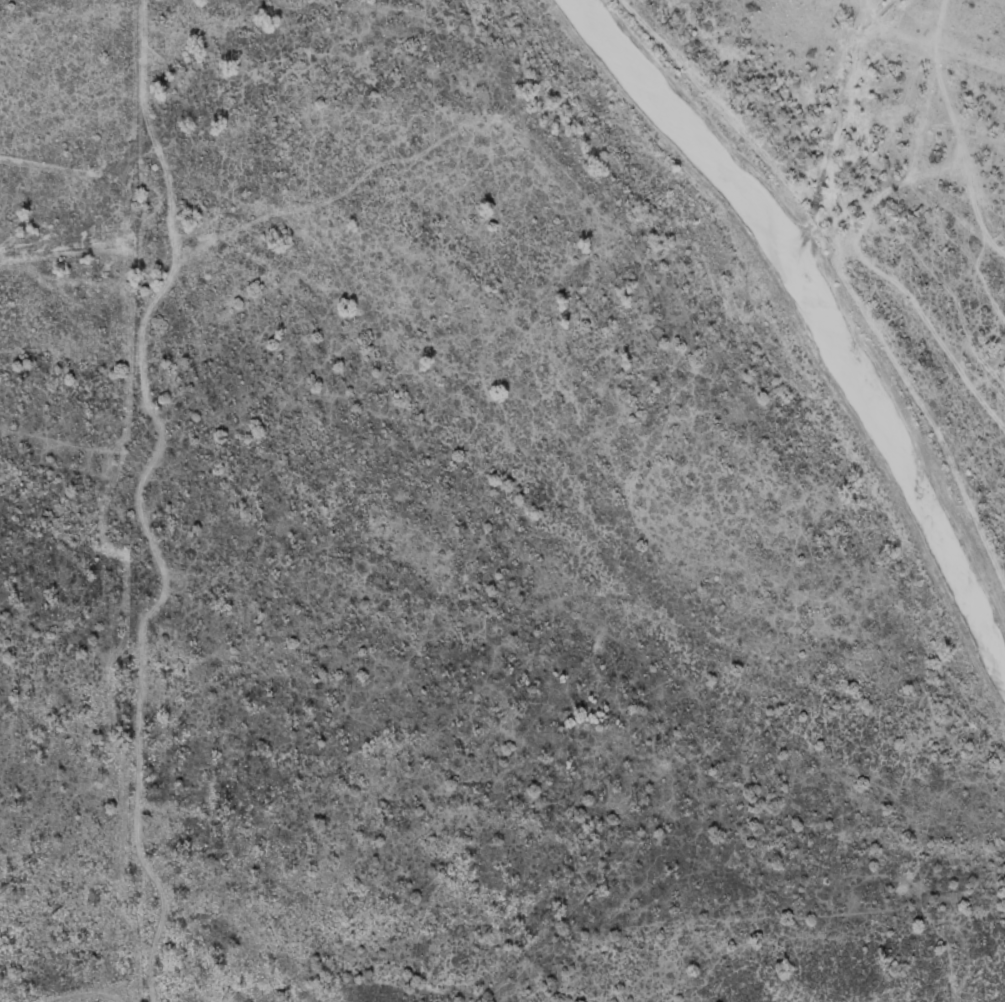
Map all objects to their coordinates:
road: (855, 46)
river: (815, 321)
road: (838, 512)

